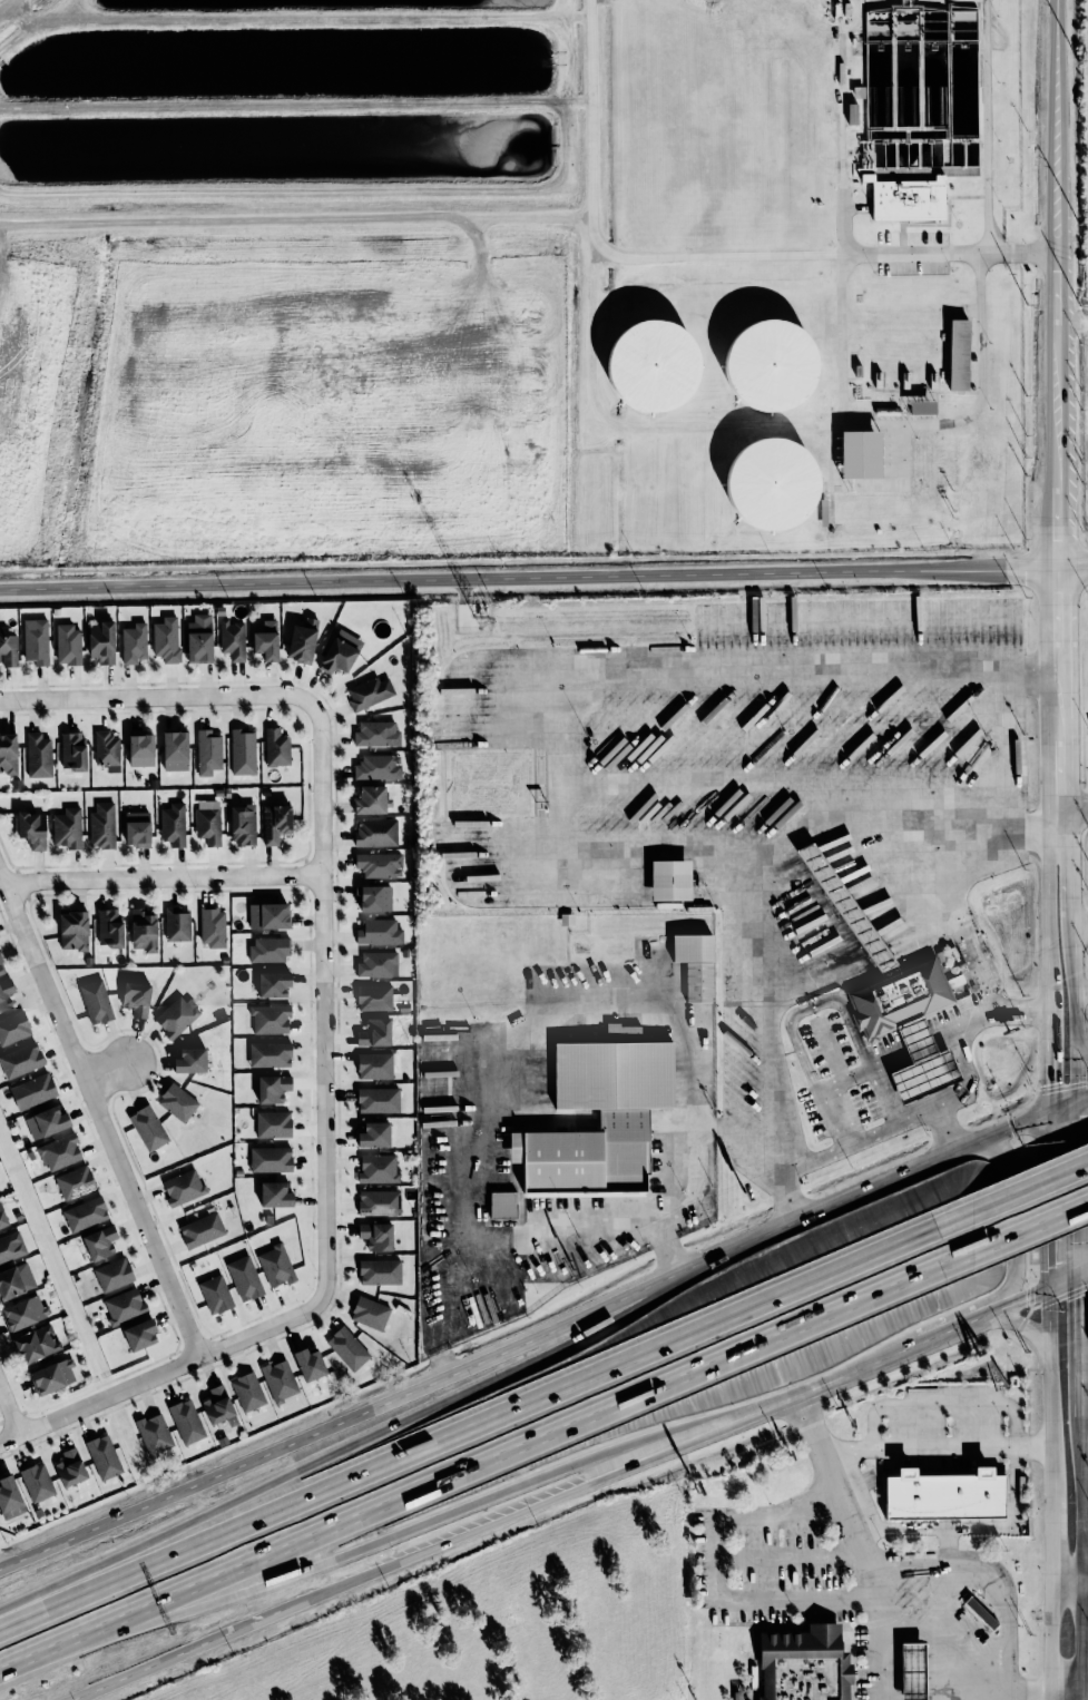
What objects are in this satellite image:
road: (7, 6)
road: (986, 126)
building: (908, 199)
road: (293, 217)
road: (1053, 226)
road: (847, 244)
road: (843, 249)
road: (677, 257)
road: (1070, 324)
building: (958, 353)
building: (653, 365)
storage tank: (653, 365)
building: (771, 365)
storage tank: (771, 365)
road: (979, 399)
building: (921, 405)
power substation: (1085, 413)
road: (633, 426)
building: (859, 454)
road: (903, 469)
building: (772, 483)
storage tank: (772, 483)
road: (1055, 510)
road: (1046, 569)
road: (501, 577)
road: (1056, 619)
building: (199, 638)
building: (166, 639)
building: (232, 639)
building: (35, 640)
building: (266, 640)
building: (302, 640)
building: (101, 642)
building: (133, 642)
building: (68, 643)
building: (8, 648)
building: (340, 651)
building: (370, 692)
road: (158, 695)
building: (376, 734)
road: (1057, 740)
building: (106, 747)
building: (276, 747)
building: (140, 748)
building: (72, 750)
building: (174, 750)
building: (243, 750)
building: (208, 751)
building: (8, 754)
building: (38, 755)
building: (982, 758)
building: (378, 766)
road: (562, 786)
road: (853, 786)
building: (370, 799)
road: (1074, 810)
building: (208, 820)
building: (275, 822)
road: (1059, 823)
building: (173, 824)
building: (243, 824)
building: (101, 825)
building: (67, 827)
building: (137, 828)
building: (30, 829)
building: (375, 832)
road: (1031, 834)
road: (942, 856)
building: (379, 864)
road: (1069, 874)
road: (165, 878)
building: (669, 880)
building: (373, 897)
road: (842, 901)
building: (846, 907)
gas station: (846, 907)
road: (1049, 911)
building: (267, 915)
building: (177, 924)
building: (212, 926)
building: (109, 927)
building: (143, 928)
building: (72, 930)
building: (378, 931)
building: (268, 949)
building: (376, 963)
building: (695, 963)
building: (1, 969)
building: (273, 983)
road: (1079, 989)
building: (6, 992)
building: (373, 996)
building: (136, 998)
building: (898, 998)
building: (96, 1001)
road: (326, 1002)
road: (1074, 1005)
building: (176, 1015)
building: (269, 1019)
road: (666, 1023)
building: (13, 1026)
building: (374, 1032)
road: (1081, 1045)
road: (1051, 1049)
building: (268, 1054)
building: (20, 1060)
building: (189, 1060)
building: (920, 1063)
gas station: (920, 1063)
building: (376, 1064)
road: (109, 1071)
traffic signals: (1051, 1083)
building: (272, 1088)
building: (32, 1091)
building: (378, 1099)
building: (177, 1101)
road: (927, 1111)
road: (98, 1112)
building: (598, 1117)
traffic signals: (1082, 1118)
building: (46, 1121)
building: (273, 1123)
building: (147, 1128)
road: (943, 1130)
building: (373, 1133)
building: (59, 1152)
building: (269, 1159)
building: (378, 1168)
building: (75, 1182)
road: (1082, 1183)
building: (183, 1187)
road: (1029, 1187)
building: (274, 1193)
road: (1051, 1196)
building: (379, 1202)
building: (502, 1205)
building: (85, 1213)
building: (2, 1217)
road: (476, 1218)
road: (585, 1222)
road: (1030, 1224)
road: (1017, 1226)
building: (200, 1229)
building: (375, 1235)
building: (99, 1241)
building: (11, 1246)
traffic signals: (1052, 1264)
building: (275, 1265)
building: (379, 1271)
building: (112, 1274)
building: (244, 1277)
building: (14, 1279)
road: (1033, 1291)
building: (215, 1294)
traffic signals: (1026, 1296)
traffic signals: (1084, 1296)
building: (124, 1305)
building: (23, 1311)
building: (370, 1313)
road: (1084, 1323)
road: (1026, 1324)
road: (949, 1329)
road: (543, 1331)
building: (139, 1334)
building: (35, 1343)
building: (346, 1348)
road: (886, 1356)
building: (308, 1363)
road: (1051, 1367)
road: (158, 1374)
road: (1086, 1374)
building: (52, 1376)
building: (278, 1379)
building: (247, 1391)
road: (945, 1404)
building: (218, 1405)
road: (1084, 1413)
road: (9, 1415)
road: (484, 1419)
building: (186, 1421)
building: (154, 1434)
road: (535, 1438)
road: (361, 1441)
road: (935, 1448)
road: (1086, 1453)
building: (104, 1456)
building: (70, 1467)
road: (604, 1476)
building: (36, 1482)
building: (943, 1493)
road: (476, 1496)
building: (9, 1497)
road: (1053, 1515)
road: (940, 1529)
road: (784, 1556)
road: (1081, 1568)
road: (713, 1576)
road: (1067, 1580)
road: (1085, 1580)
road: (869, 1585)
road: (1001, 1600)
building: (980, 1613)
road: (1053, 1630)
road: (210, 1640)
road: (49, 1648)
road: (881, 1659)
building: (801, 1664)
building: (911, 1670)
gas station: (911, 1670)
road: (1067, 1689)
road: (979, 1698)

